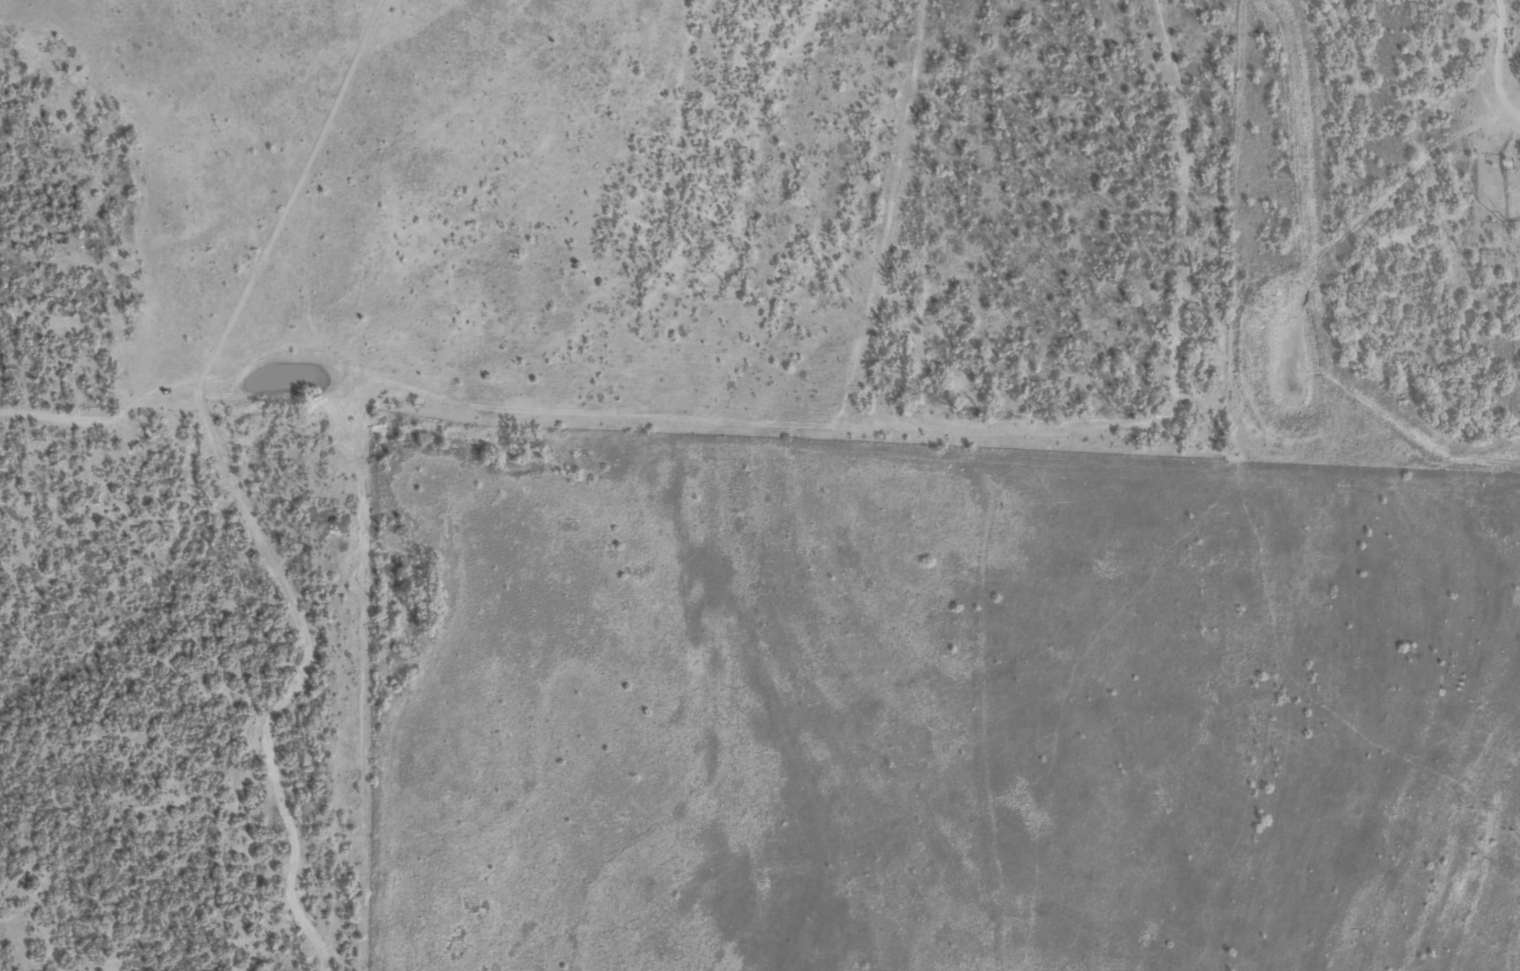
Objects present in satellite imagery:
road: (1413, 81)

